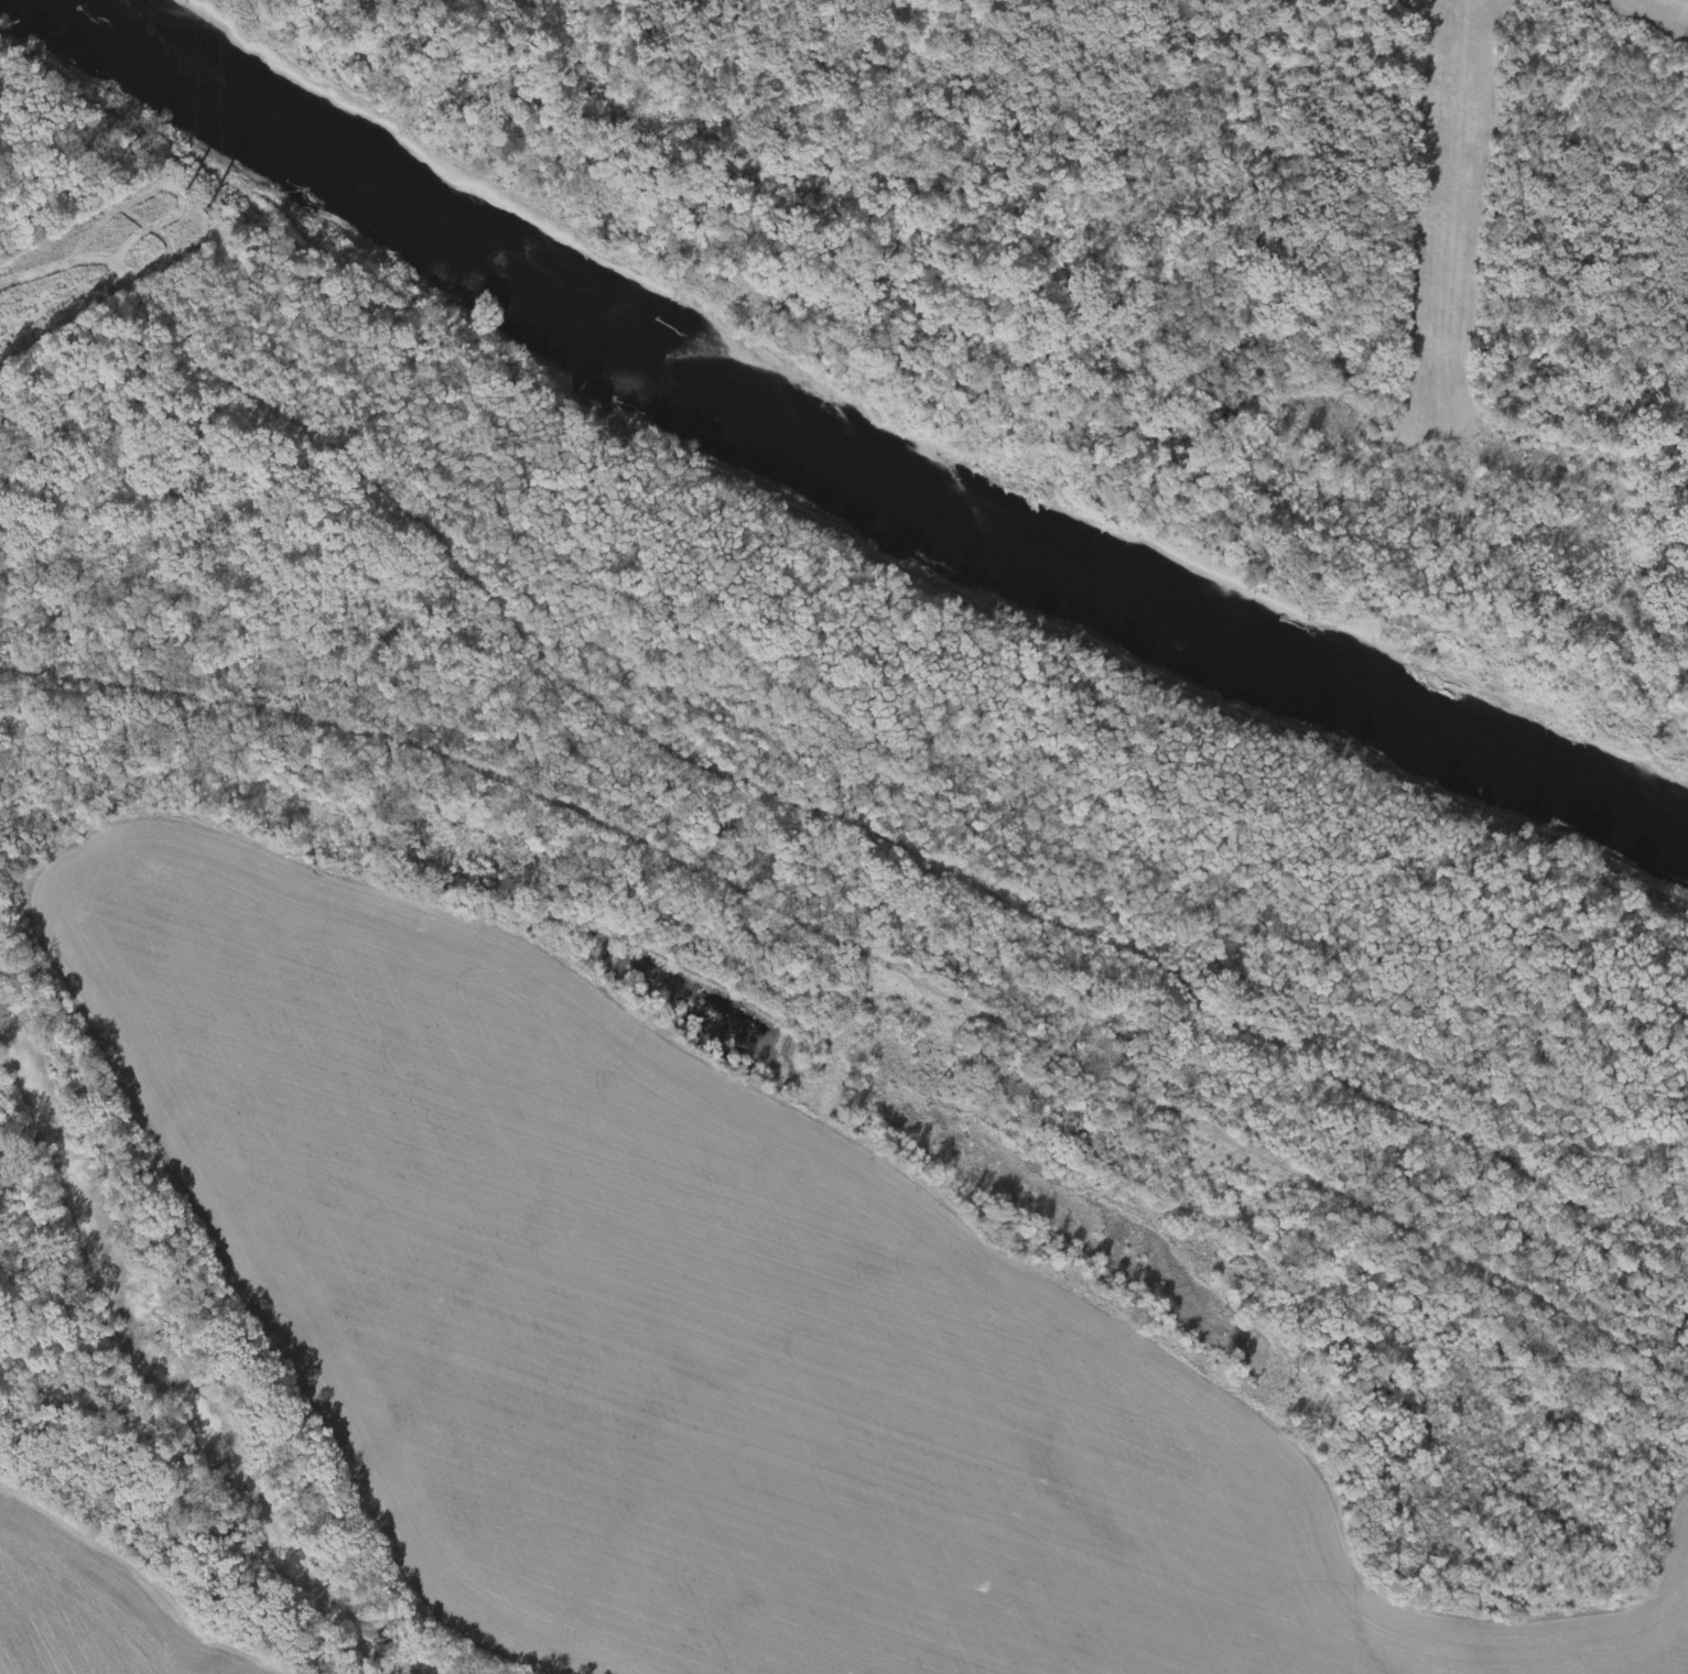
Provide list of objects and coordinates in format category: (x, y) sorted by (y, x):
river: (868, 449)
crop: (739, 1301)

